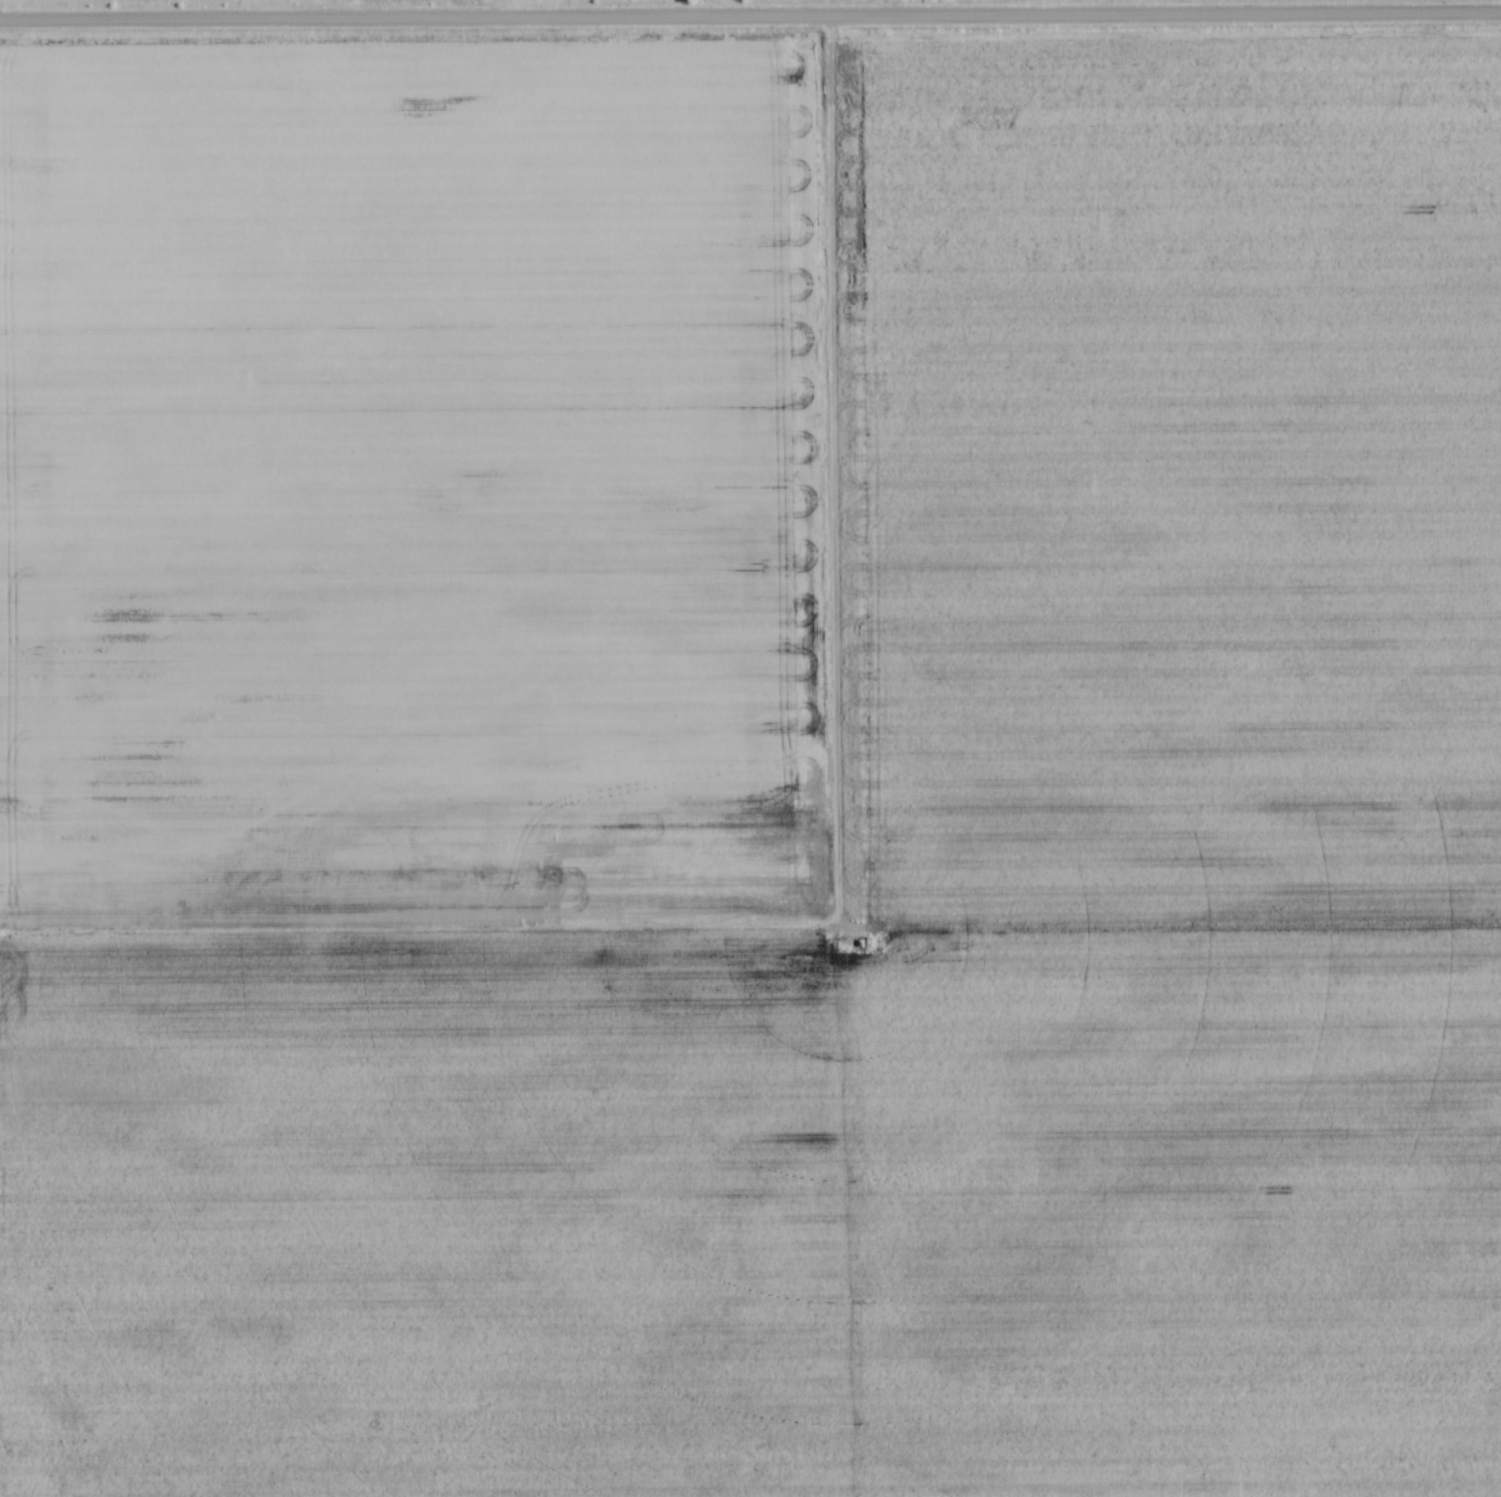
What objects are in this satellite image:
road: (750, 18)

